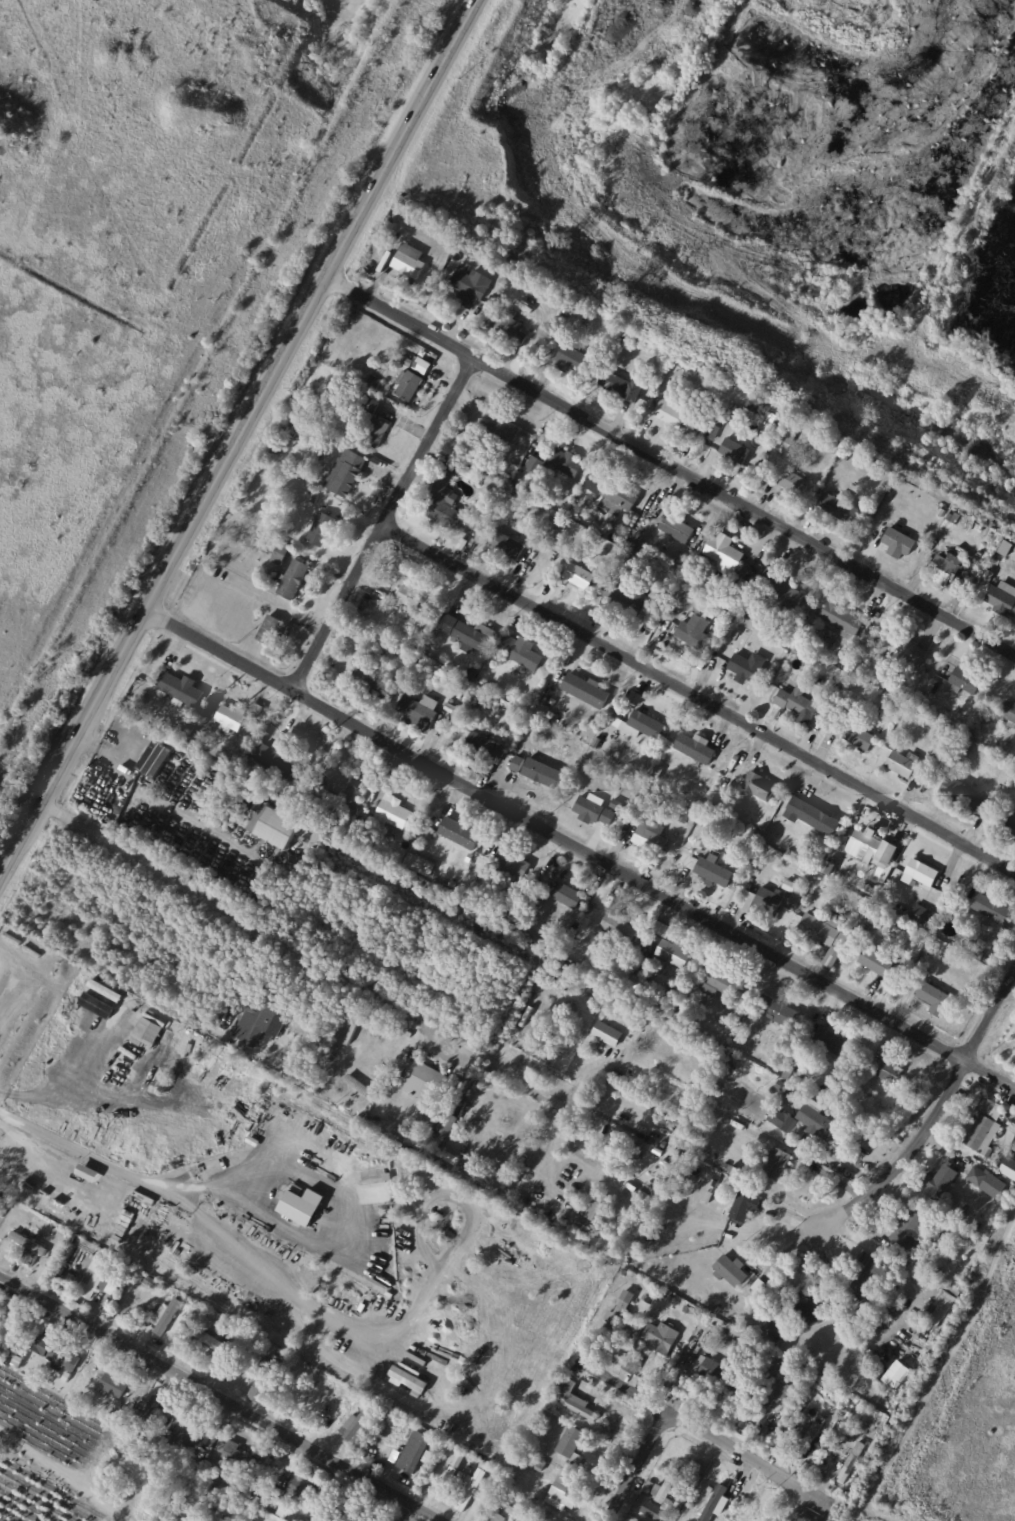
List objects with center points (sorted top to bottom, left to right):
building: (409, 263)
building: (504, 279)
building: (469, 286)
building: (494, 299)
building: (568, 312)
building: (511, 327)
building: (627, 333)
building: (405, 359)
building: (572, 359)
building: (685, 364)
building: (376, 380)
building: (410, 385)
building: (622, 386)
building: (370, 404)
building: (758, 406)
building: (674, 411)
building: (291, 421)
building: (778, 421)
building: (505, 430)
building: (376, 431)
building: (791, 431)
road: (239, 441)
building: (833, 448)
building: (736, 452)
building: (847, 458)
building: (566, 461)
building: (536, 465)
building: (512, 468)
building: (346, 472)
road: (668, 472)
building: (474, 474)
building: (602, 478)
building: (509, 481)
building: (796, 482)
building: (517, 485)
building: (623, 493)
building: (315, 497)
building: (447, 503)
building: (840, 507)
building: (941, 513)
building: (487, 516)
building: (955, 517)
building: (322, 528)
building: (677, 529)
road: (382, 533)
building: (992, 534)
building: (537, 538)
building: (657, 541)
building: (900, 543)
building: (507, 544)
building: (640, 547)
building: (281, 554)
building: (726, 554)
building: (925, 557)
building: (947, 568)
building: (762, 572)
building: (398, 574)
building: (580, 575)
building: (294, 579)
building: (783, 590)
building: (684, 592)
building: (412, 595)
building: (391, 598)
building: (1003, 598)
building: (624, 602)
building: (841, 617)
building: (271, 630)
building: (695, 631)
building: (469, 632)
building: (902, 647)
building: (796, 652)
building: (398, 653)
building: (522, 654)
building: (849, 665)
building: (744, 666)
building: (967, 679)
building: (376, 681)
building: (181, 689)
building: (588, 691)
building: (900, 691)
building: (637, 698)
road: (699, 698)
building: (801, 703)
building: (451, 708)
building: (256, 710)
building: (425, 711)
building: (543, 711)
building: (1009, 711)
building: (625, 712)
building: (931, 714)
building: (232, 717)
building: (644, 725)
building: (186, 732)
building: (861, 737)
building: (599, 742)
building: (486, 744)
building: (941, 746)
building: (697, 748)
building: (279, 760)
building: (904, 764)
building: (946, 764)
building: (532, 772)
building: (659, 773)
building: (338, 781)
building: (760, 786)
building: (293, 790)
building: (686, 790)
building: (782, 791)
building: (355, 796)
building: (966, 796)
building: (617, 804)
road: (159, 810)
building: (595, 810)
building: (394, 812)
building: (350, 813)
building: (686, 815)
building: (812, 815)
building: (777, 825)
building: (1011, 827)
building: (277, 828)
building: (458, 833)
building: (652, 837)
building: (706, 844)
road: (580, 848)
building: (870, 848)
building: (753, 849)
building: (790, 852)
building: (819, 859)
building: (418, 864)
building: (513, 864)
building: (830, 868)
building: (712, 870)
building: (922, 873)
building: (804, 883)
building: (454, 885)
building: (861, 890)
building: (796, 893)
building: (871, 897)
building: (572, 898)
building: (771, 899)
building: (947, 899)
building: (748, 901)
building: (867, 907)
building: (992, 908)
building: (609, 909)
building: (924, 918)
building: (576, 921)
building: (866, 927)
building: (622, 928)
building: (826, 931)
building: (675, 953)
road: (300, 954)
building: (877, 962)
road: (0, 971)
building: (728, 987)
building: (935, 998)
road: (991, 1008)
building: (779, 1011)
building: (268, 1014)
building: (334, 1027)
building: (633, 1027)
building: (352, 1034)
building: (409, 1034)
building: (608, 1034)
building: (792, 1036)
building: (189, 1045)
building: (837, 1045)
building: (798, 1071)
building: (888, 1071)
road: (62, 1078)
building: (430, 1085)
building: (835, 1096)
building: (458, 1104)
building: (816, 1121)
building: (475, 1122)
building: (786, 1122)
building: (448, 1124)
building: (986, 1128)
building: (501, 1135)
building: (1014, 1140)
building: (1014, 1142)
building: (633, 1149)
road: (903, 1154)
building: (776, 1164)
building: (734, 1171)
building: (1012, 1172)
building: (437, 1174)
building: (979, 1177)
building: (942, 1183)
building: (716, 1184)
road: (184, 1194)
building: (645, 1195)
road: (356, 1200)
building: (4, 1201)
building: (138, 1203)
building: (746, 1206)
building: (298, 1207)
building: (601, 1209)
building: (472, 1224)
building: (635, 1227)
building: (590, 1228)
building: (913, 1229)
building: (761, 1230)
building: (27, 1244)
building: (802, 1267)
building: (731, 1271)
building: (625, 1273)
building: (635, 1277)
building: (98, 1278)
building: (116, 1281)
building: (153, 1282)
building: (759, 1286)
building: (869, 1293)
building: (652, 1296)
building: (669, 1297)
building: (939, 1306)
building: (813, 1309)
building: (689, 1310)
building: (621, 1311)
building: (168, 1316)
building: (1, 1321)
building: (632, 1322)
building: (719, 1328)
building: (778, 1328)
building: (753, 1329)
building: (725, 1333)
building: (770, 1337)
building: (660, 1340)
building: (43, 1344)
building: (211, 1345)
building: (772, 1347)
building: (63, 1357)
building: (632, 1365)
building: (790, 1367)
building: (895, 1374)
building: (66, 1376)
building: (266, 1376)
building: (721, 1376)
building: (408, 1378)
building: (767, 1378)
building: (114, 1384)
building: (77, 1389)
building: (781, 1389)
building: (358, 1393)
road: (221, 1397)
building: (573, 1398)
building: (117, 1403)
building: (380, 1408)
building: (150, 1412)
building: (758, 1415)
building: (867, 1418)
road: (661, 1421)
building: (359, 1426)
building: (541, 1427)
road: (694, 1430)
building: (169, 1434)
building: (186, 1438)
building: (852, 1439)
building: (208, 1444)
building: (572, 1445)
building: (410, 1446)
building: (236, 1455)
building: (531, 1459)
building: (520, 1463)
building: (852, 1464)
building: (541, 1465)
road: (64, 1475)
building: (670, 1487)
building: (336, 1488)
building: (302, 1489)
building: (472, 1489)
building: (716, 1491)
building: (563, 1493)
building: (515, 1498)
building: (251, 1507)
building: (653, 1509)
building: (716, 1511)
building: (520, 1513)
building: (358, 1515)
building: (499, 1517)
building: (188, 1520)

